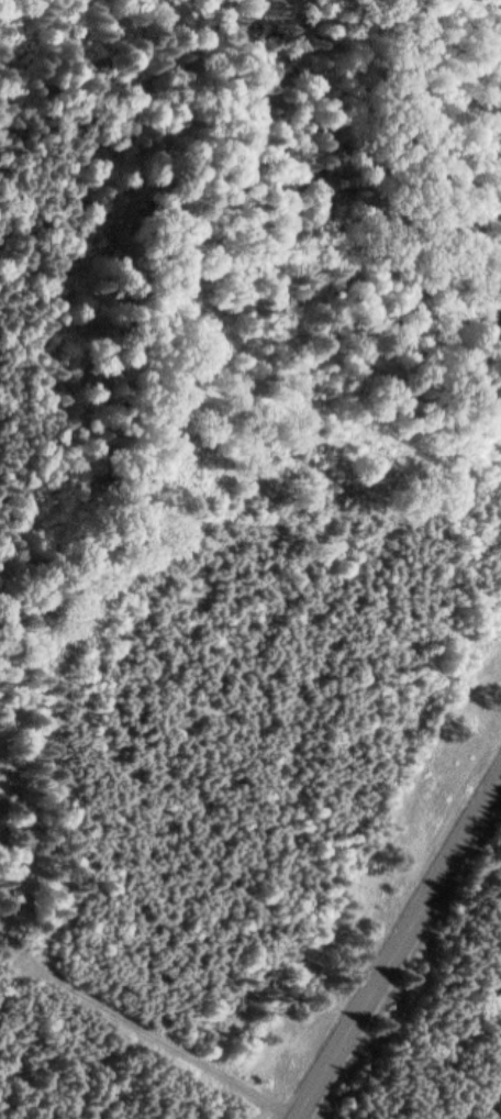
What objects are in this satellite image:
road: (175, 461)
road: (400, 948)
road: (146, 1033)

